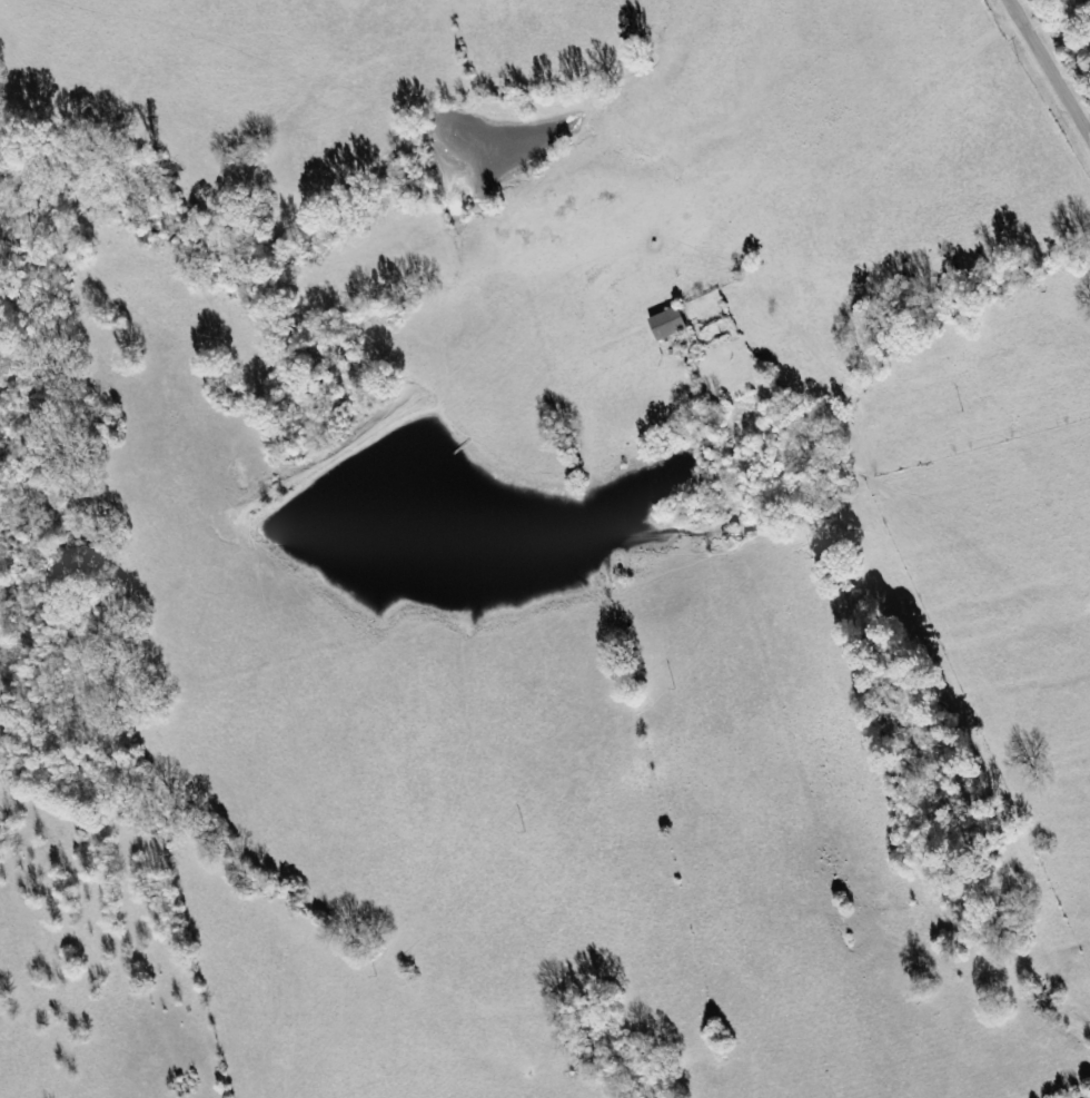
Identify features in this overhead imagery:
road: (1049, 68)
building: (671, 324)

